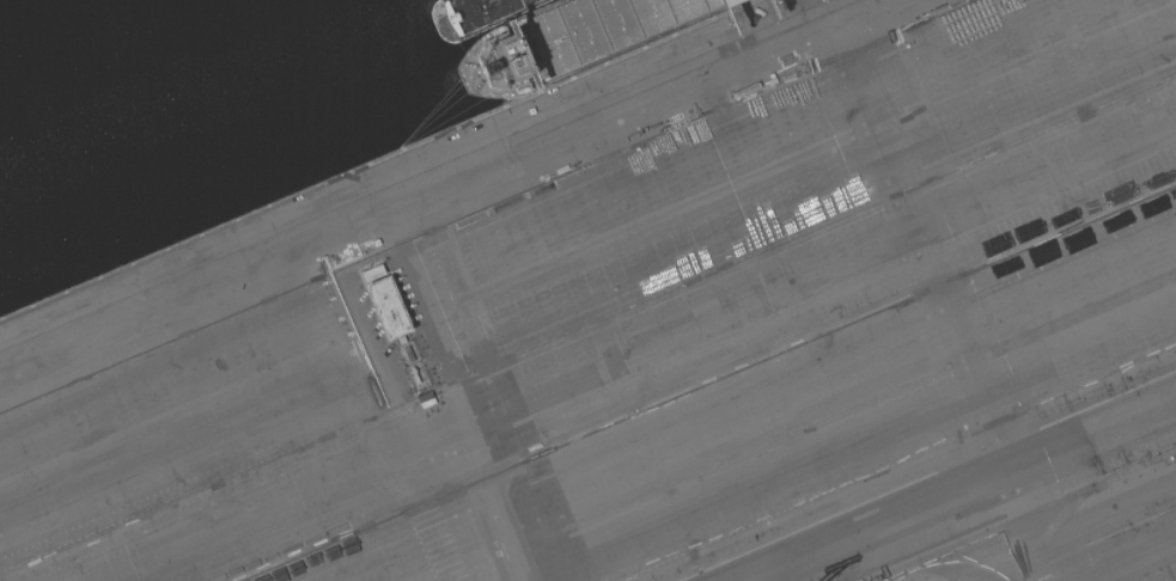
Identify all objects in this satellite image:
building: (372, 273)
building: (388, 308)

